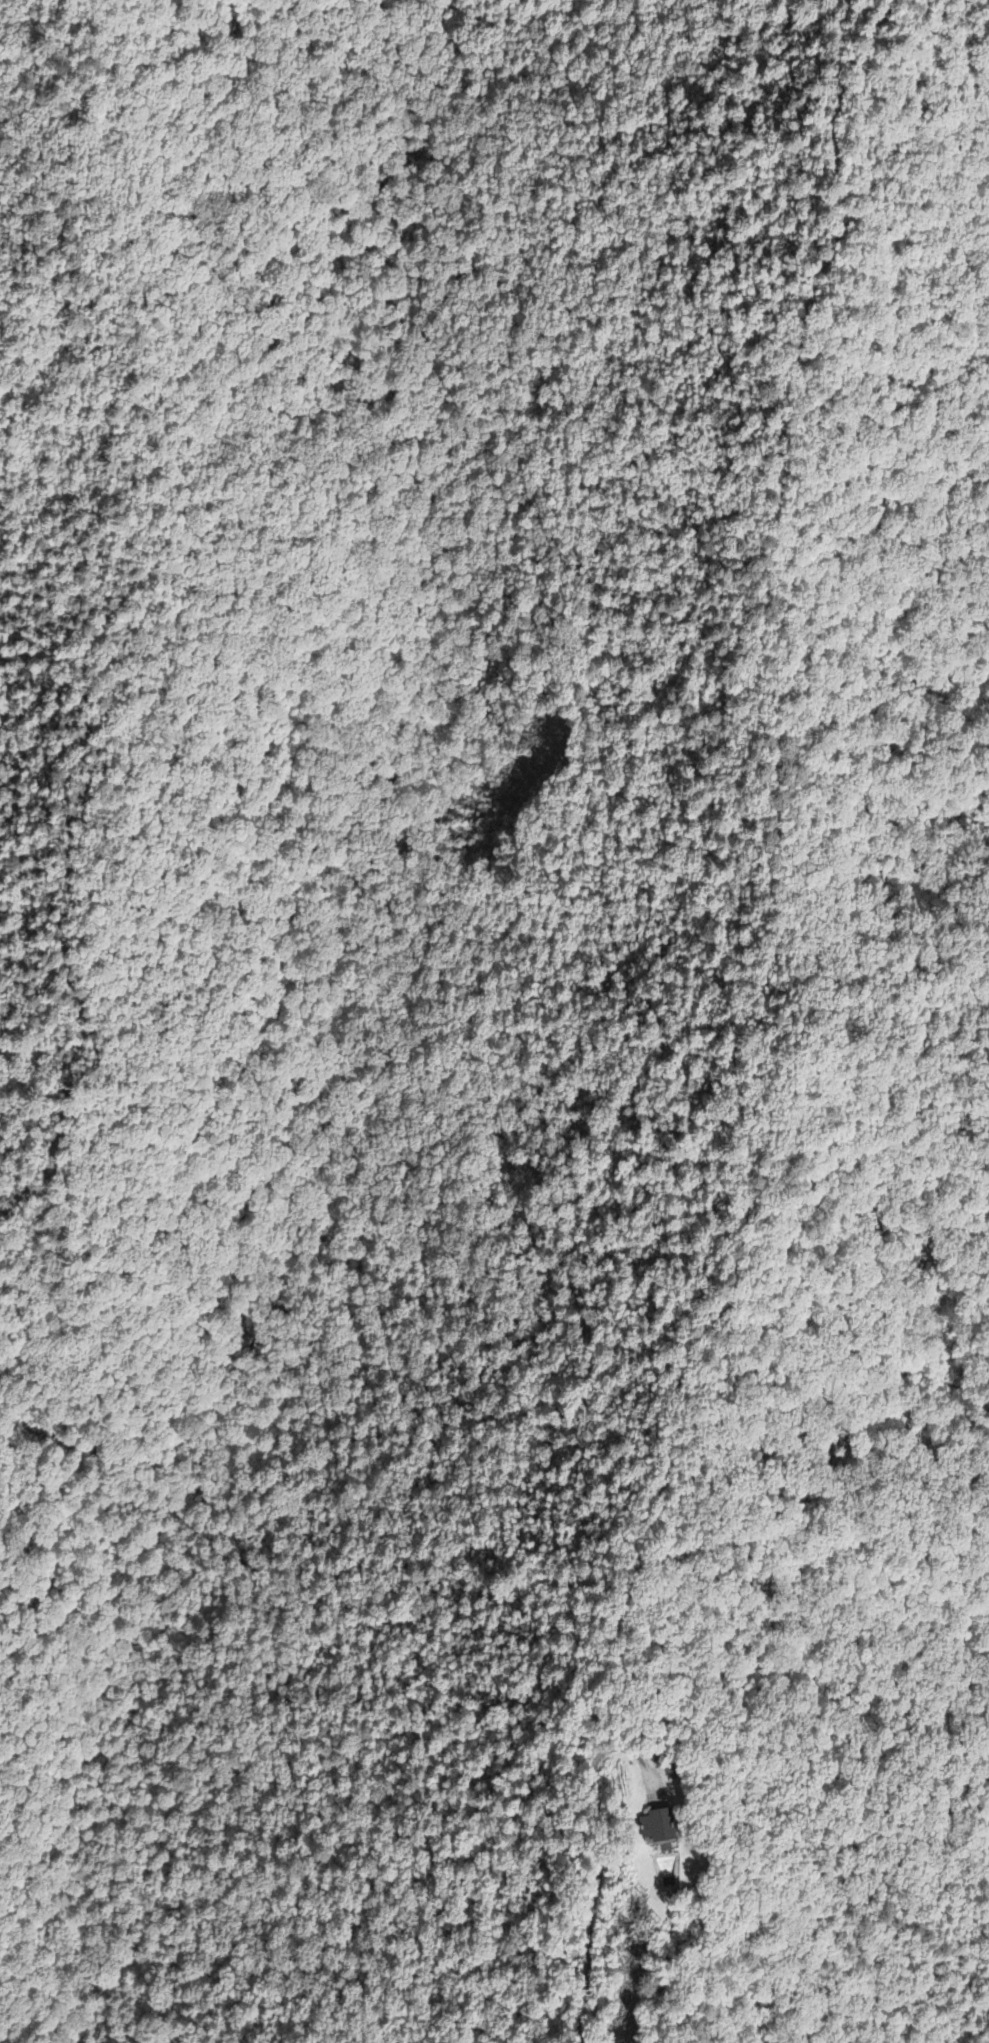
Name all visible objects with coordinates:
building: (667, 1826)
road: (597, 1883)

